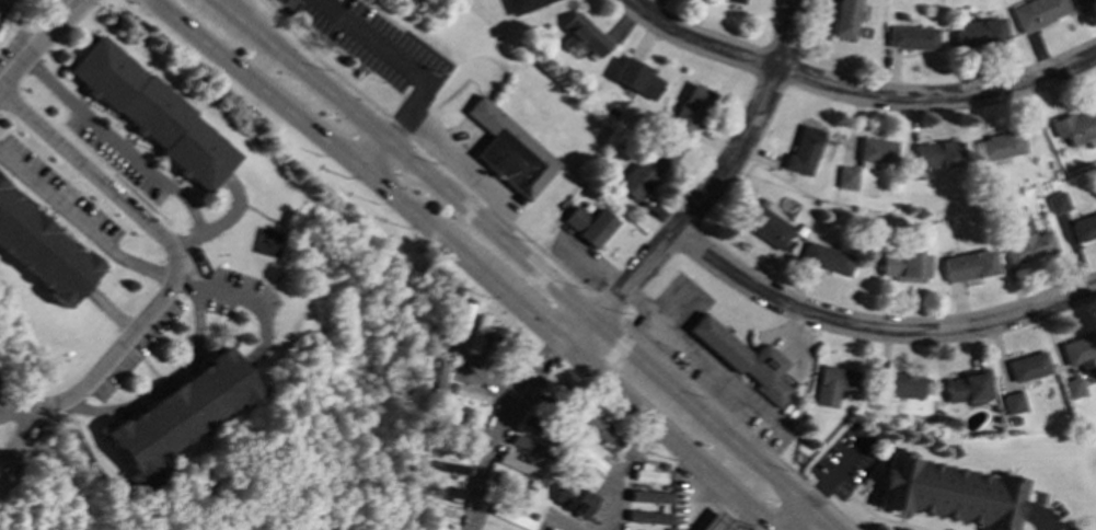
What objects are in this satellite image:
building: (735, 1)
building: (1087, 1)
building: (521, 4)
building: (1037, 12)
building: (843, 19)
building: (978, 32)
building: (582, 35)
building: (910, 36)
road: (38, 44)
road: (402, 60)
building: (636, 78)
road: (855, 92)
building: (689, 108)
building: (151, 113)
building: (1074, 126)
road: (118, 142)
building: (997, 145)
road: (424, 148)
building: (509, 150)
building: (801, 150)
building: (873, 152)
building: (935, 153)
road: (376, 155)
road: (465, 165)
building: (641, 173)
building: (844, 177)
road: (707, 192)
building: (1057, 203)
road: (81, 223)
building: (588, 223)
road: (214, 226)
building: (764, 226)
building: (1084, 227)
building: (1025, 243)
building: (43, 250)
building: (823, 257)
road: (465, 261)
road: (526, 262)
road: (174, 264)
building: (968, 265)
building: (902, 266)
road: (255, 306)
road: (604, 307)
building: (463, 319)
road: (875, 329)
building: (478, 331)
building: (499, 334)
building: (1080, 350)
road: (701, 358)
building: (742, 358)
building: (1027, 366)
road: (482, 368)
road: (539, 370)
building: (441, 372)
road: (175, 377)
building: (831, 383)
building: (900, 384)
building: (965, 385)
building: (1072, 387)
building: (472, 392)
building: (1012, 402)
building: (463, 408)
building: (182, 410)
road: (5, 411)
road: (738, 425)
building: (602, 433)
building: (441, 443)
building: (527, 445)
building: (586, 457)
road: (484, 460)
building: (517, 463)
building: (443, 465)
building: (647, 472)
road: (621, 473)
building: (441, 489)
building: (947, 492)
building: (647, 496)
building: (574, 498)
building: (647, 517)
road: (557, 518)
road: (796, 518)
building: (716, 522)
building: (439, 528)
building: (551, 529)

